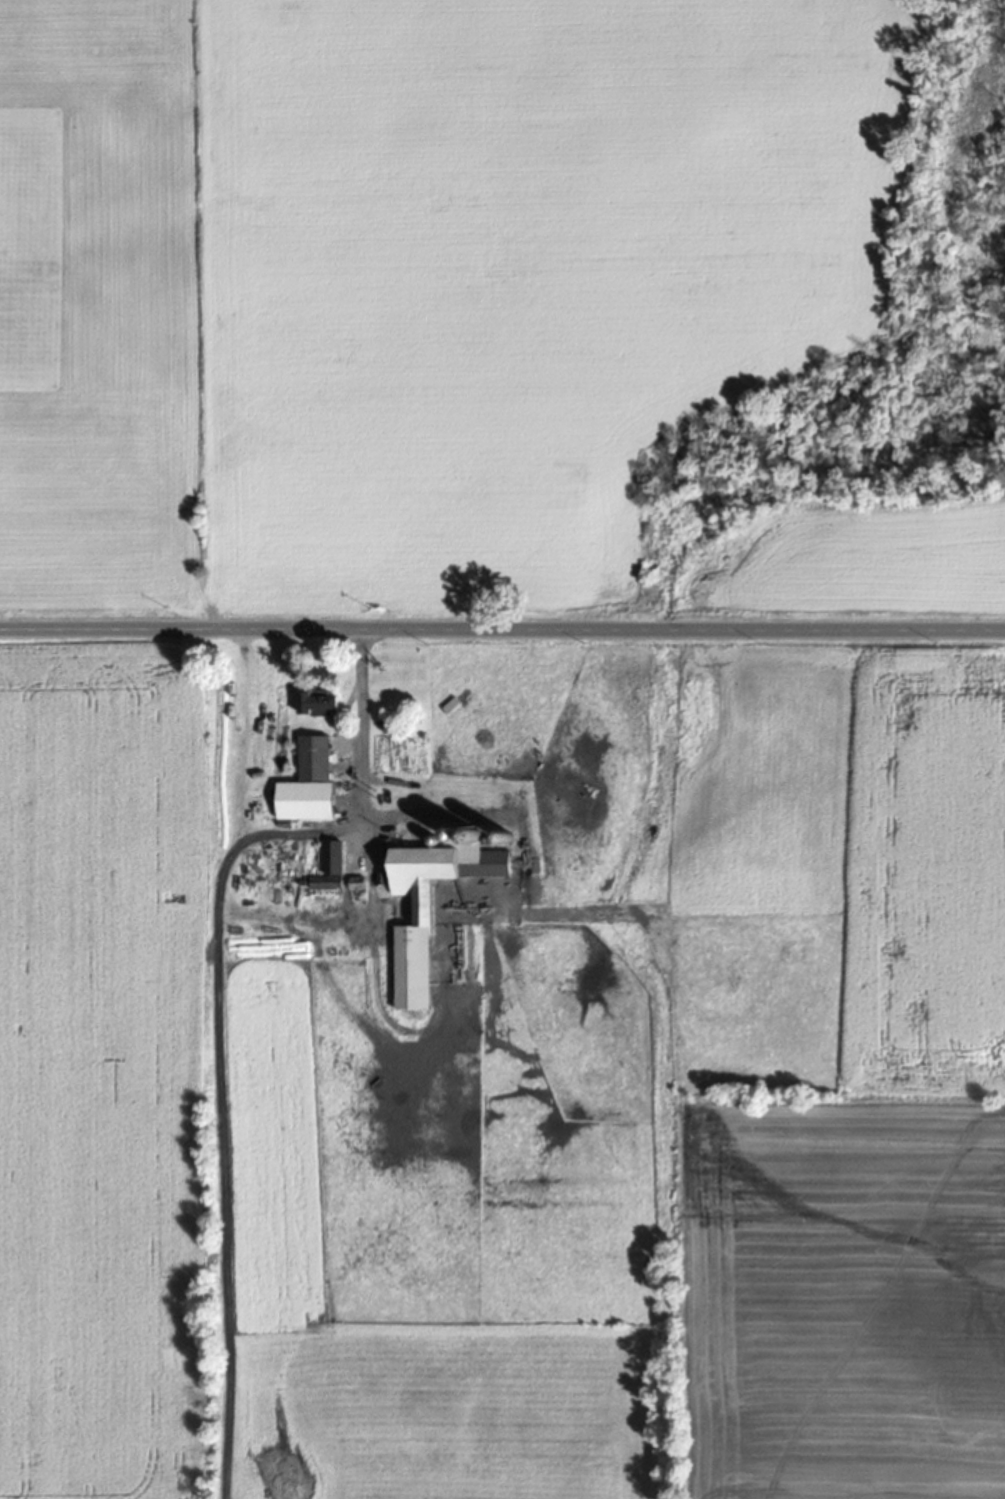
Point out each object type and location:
road: (502, 629)
building: (319, 700)
road: (359, 738)
building: (310, 781)
building: (333, 855)
building: (326, 880)
building: (358, 881)
building: (430, 904)

